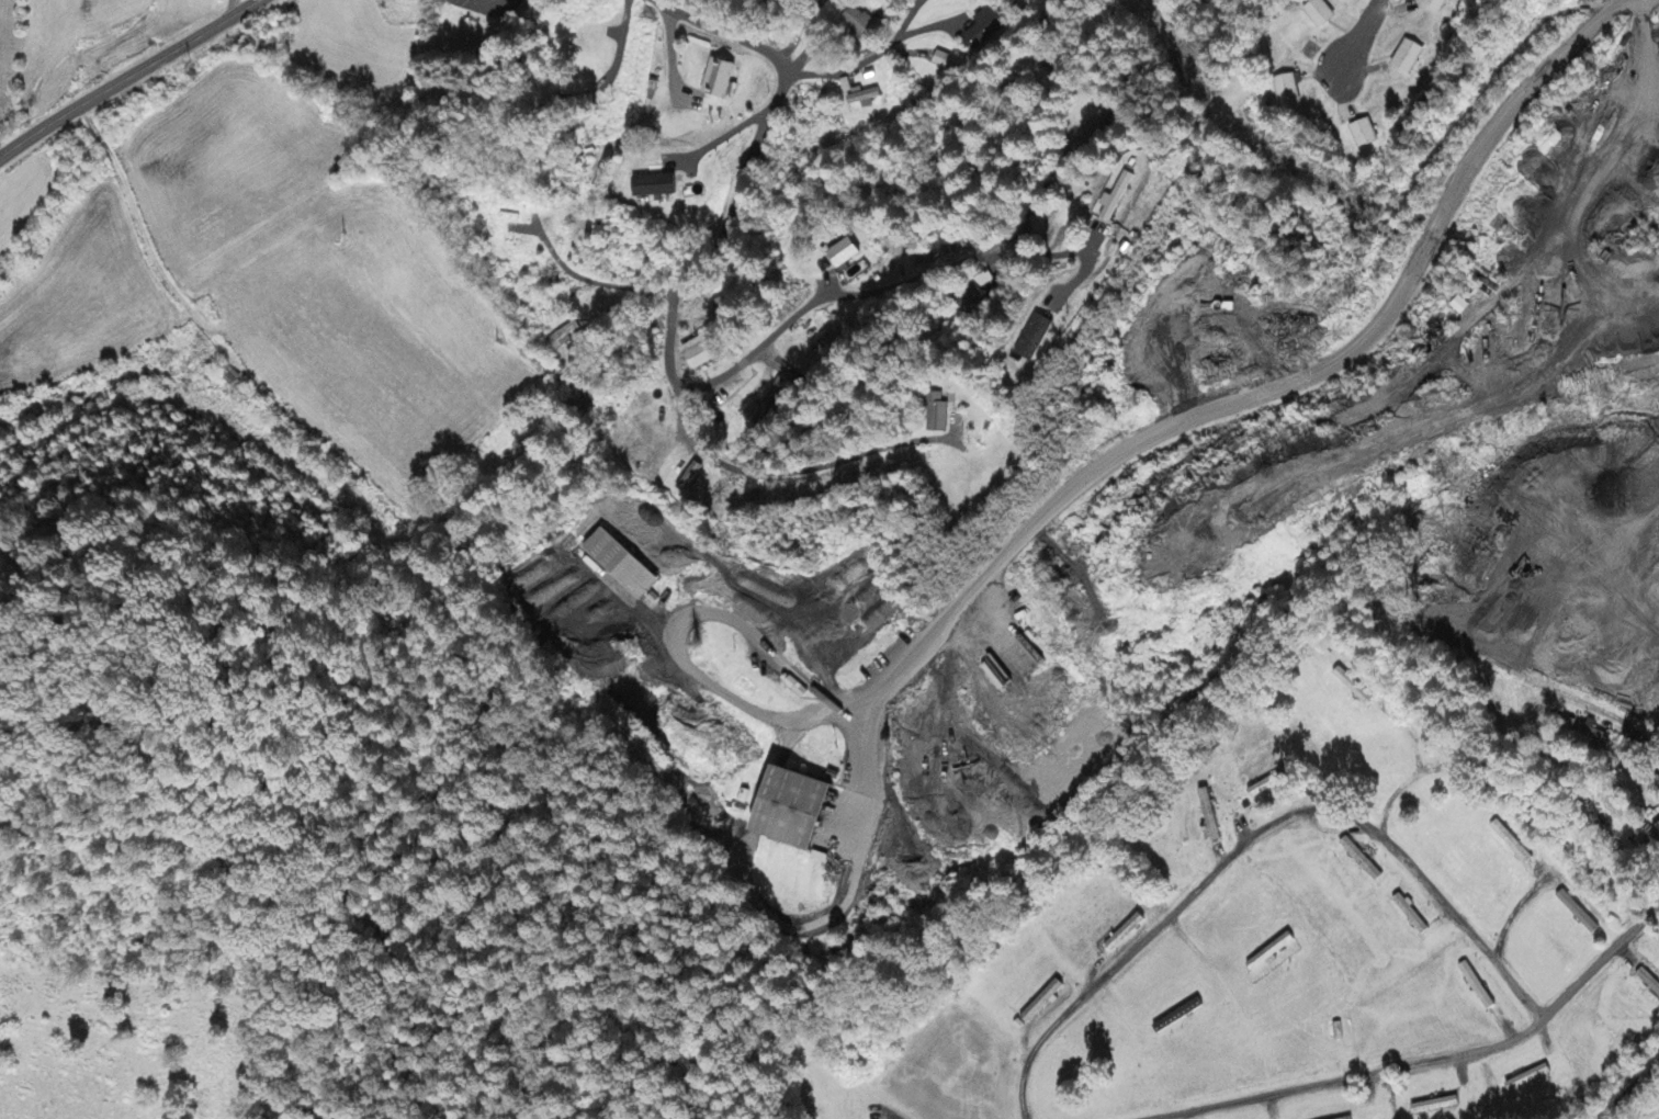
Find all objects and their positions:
building: (1438, 4)
building: (1321, 13)
building: (858, 24)
building: (985, 30)
road: (1367, 34)
building: (1409, 57)
building: (941, 60)
road: (123, 75)
building: (721, 80)
building: (1291, 91)
building: (864, 100)
road: (766, 116)
building: (1096, 124)
building: (1365, 135)
building: (658, 187)
building: (1117, 197)
building: (847, 253)
road: (843, 287)
building: (1462, 307)
building: (1040, 338)
building: (562, 339)
building: (703, 352)
building: (233, 380)
road: (1256, 394)
building: (938, 415)
road: (732, 466)
building: (690, 478)
building: (627, 565)
road: (1562, 685)
building: (1353, 688)
building: (1596, 734)
building: (1273, 784)
building: (800, 811)
building: (1210, 817)
road: (1254, 833)
building: (1511, 844)
building: (1362, 861)
building: (1578, 914)
building: (1412, 916)
building: (1278, 949)
road: (1600, 953)
building: (1649, 982)
building: (1477, 987)
building: (1043, 1003)
road: (1358, 1076)
road: (1628, 1093)
building: (1437, 1107)

